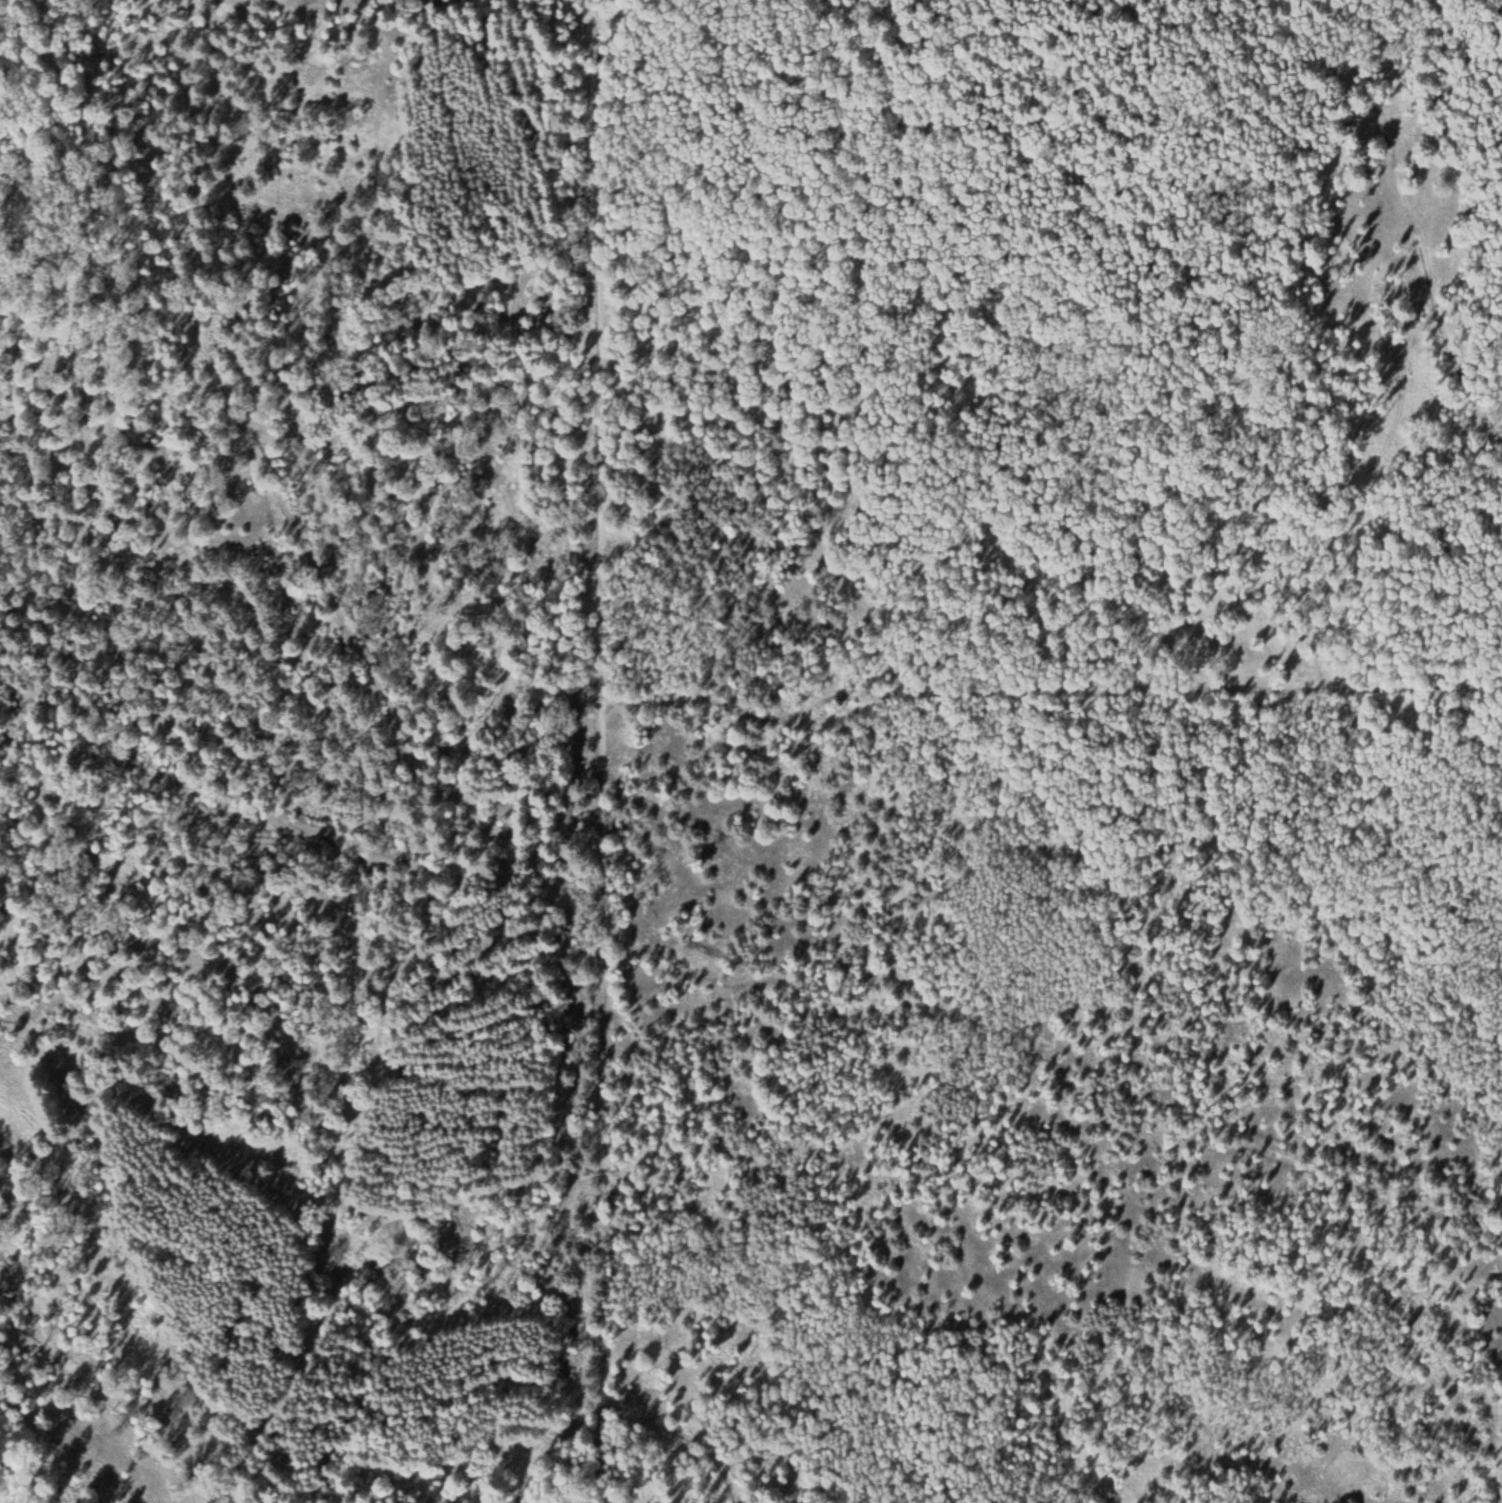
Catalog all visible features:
road: (1404, 210)
road: (553, 419)
road: (265, 464)
road: (593, 467)
road: (1046, 699)
road: (560, 910)
road: (1029, 1085)
road: (579, 1214)
road: (130, 1250)

